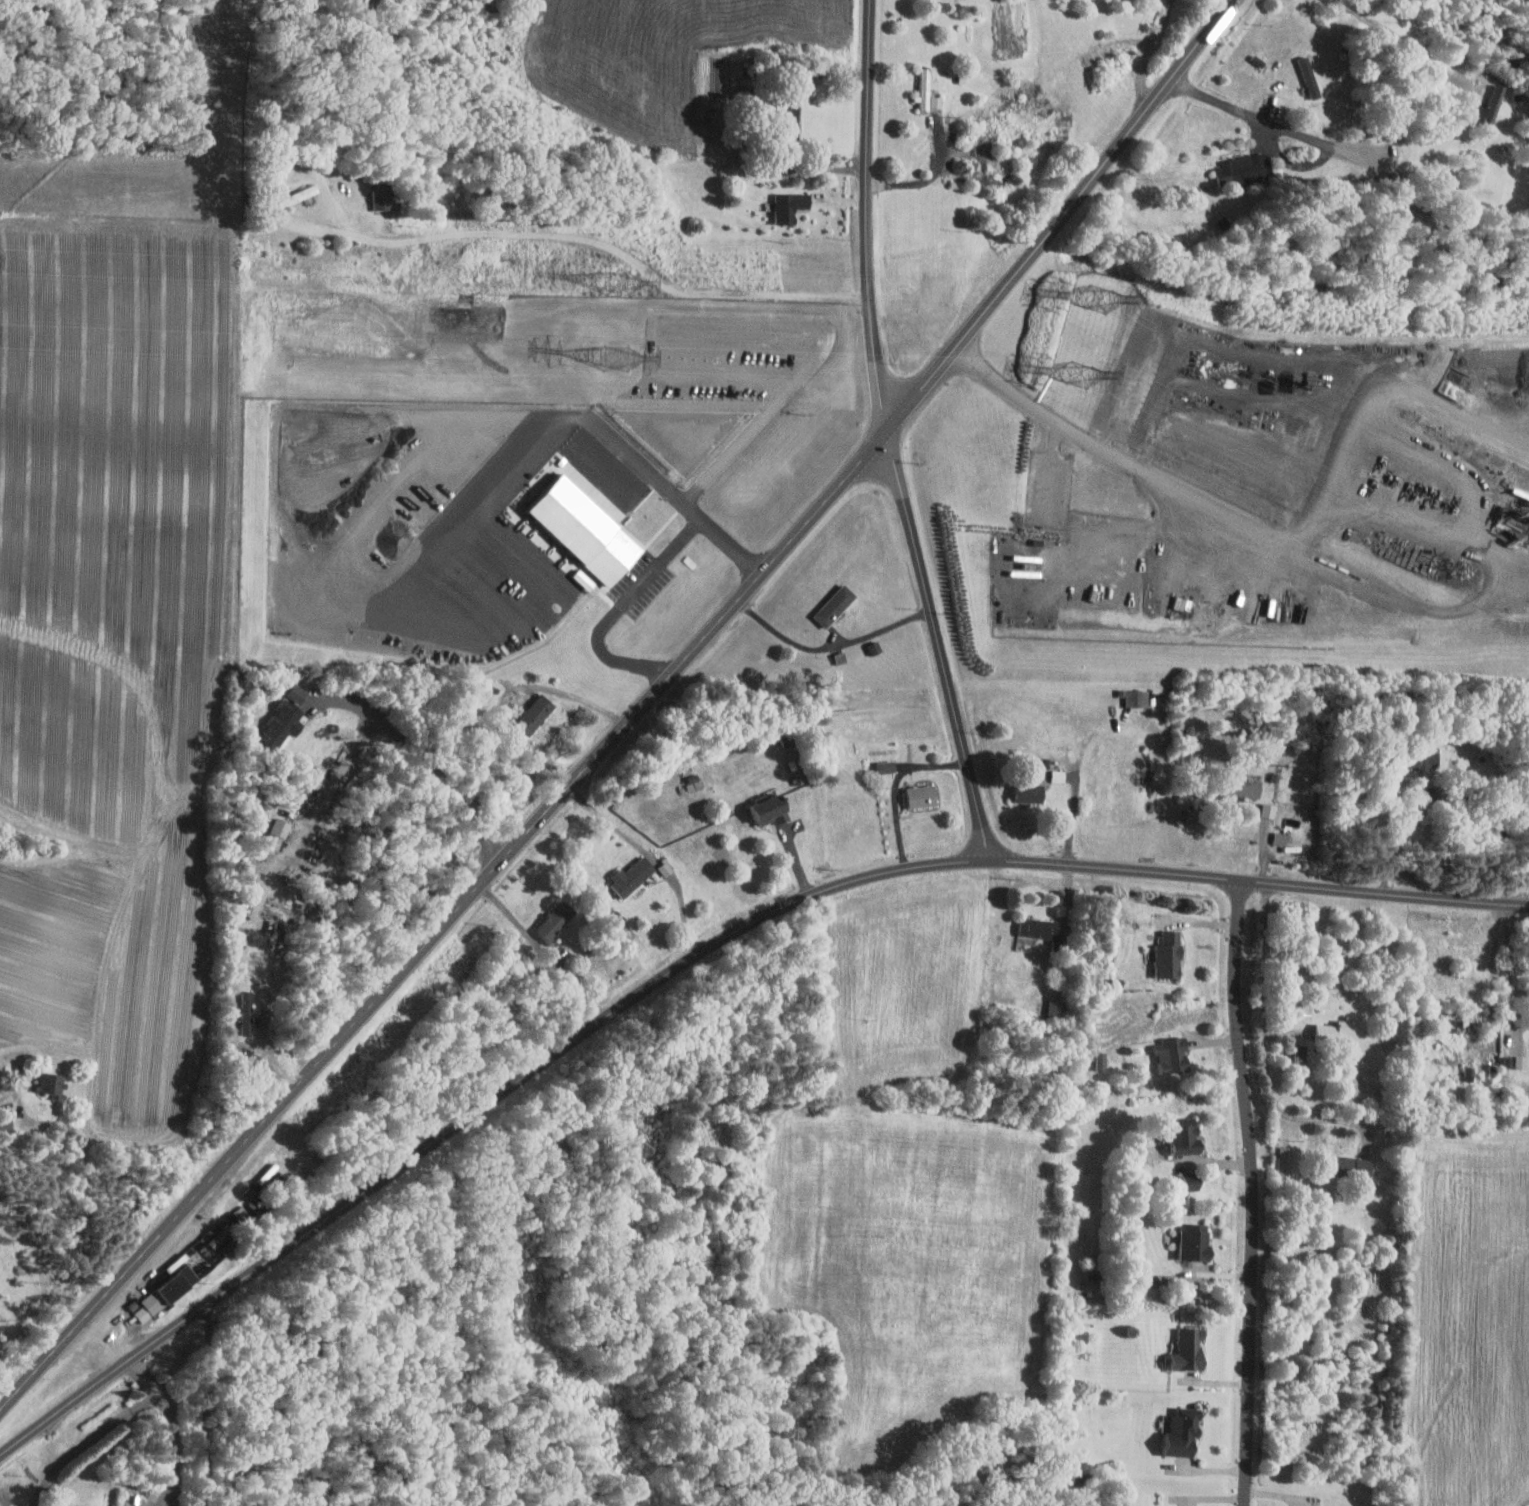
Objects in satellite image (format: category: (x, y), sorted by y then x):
building: (489, 5)
building: (487, 17)
road: (1403, 37)
road: (1148, 52)
building: (930, 91)
building: (1495, 101)
building: (795, 112)
road: (1277, 123)
road: (664, 146)
building: (1240, 172)
road: (928, 177)
building: (302, 195)
building: (388, 196)
building: (791, 207)
road: (613, 247)
power tower: (622, 283)
power tower: (1103, 299)
power tower: (623, 362)
power tower: (1086, 374)
road: (1005, 387)
road: (891, 434)
road: (1053, 468)
building: (1021, 491)
road: (1314, 501)
road: (641, 582)
building: (1184, 603)
building: (836, 604)
road: (830, 647)
building: (299, 692)
road: (576, 696)
building: (1137, 697)
building: (537, 713)
road: (630, 717)
building: (286, 720)
road: (426, 766)
building: (888, 766)
road: (1077, 773)
building: (1060, 775)
road: (896, 785)
building: (1246, 788)
building: (1031, 792)
building: (922, 795)
building: (1270, 809)
building: (771, 810)
building: (281, 832)
road: (1397, 836)
building: (1281, 838)
building: (633, 876)
road: (258, 879)
building: (556, 920)
building: (1040, 927)
road: (103, 930)
building: (1170, 954)
road: (695, 956)
road: (1510, 962)
road: (1495, 969)
building: (1303, 1009)
building: (248, 1012)
building: (1454, 1021)
building: (1342, 1030)
road: (1266, 1052)
building: (1175, 1055)
building: (1297, 1055)
building: (1103, 1060)
building: (1522, 1061)
building: (1470, 1073)
building: (53, 1084)
road: (9, 1092)
building: (1186, 1138)
building: (1353, 1166)
building: (1191, 1182)
road: (93, 1189)
road: (1254, 1192)
building: (240, 1216)
building: (1196, 1241)
building: (223, 1242)
building: (168, 1293)
road: (110, 1335)
building: (1190, 1349)
road: (174, 1425)
building: (1185, 1432)
road: (89, 1441)

